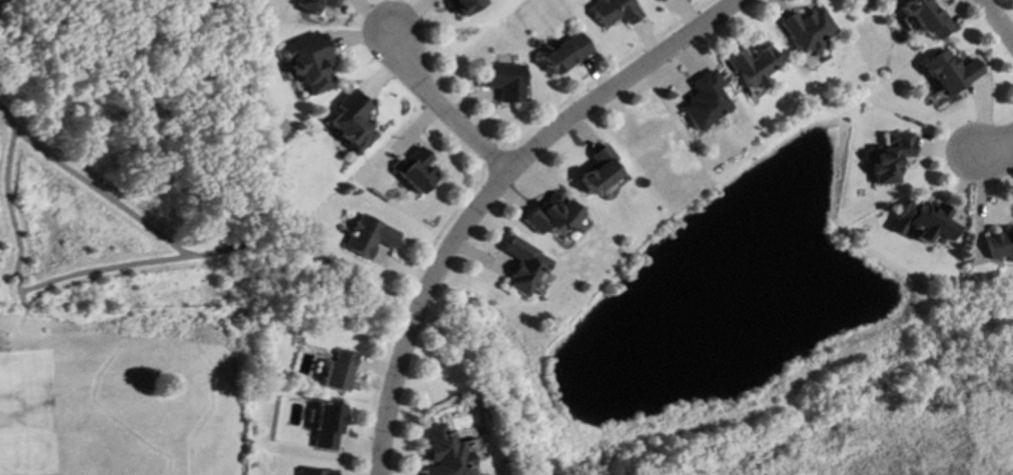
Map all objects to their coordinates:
building: (659, 0)
building: (313, 5)
building: (464, 6)
building: (613, 12)
building: (926, 17)
road: (998, 21)
building: (807, 29)
building: (564, 54)
building: (309, 62)
building: (753, 68)
building: (951, 72)
building: (504, 81)
road: (618, 83)
building: (704, 101)
road: (437, 103)
building: (353, 121)
road: (995, 155)
road: (492, 156)
building: (891, 158)
building: (417, 171)
building: (598, 171)
building: (550, 215)
building: (925, 221)
road: (12, 223)
road: (441, 230)
building: (369, 236)
building: (998, 244)
road: (179, 250)
building: (522, 266)
road: (102, 269)
road: (423, 313)
building: (337, 371)
road: (374, 386)
building: (325, 426)
building: (442, 453)
building: (314, 472)

